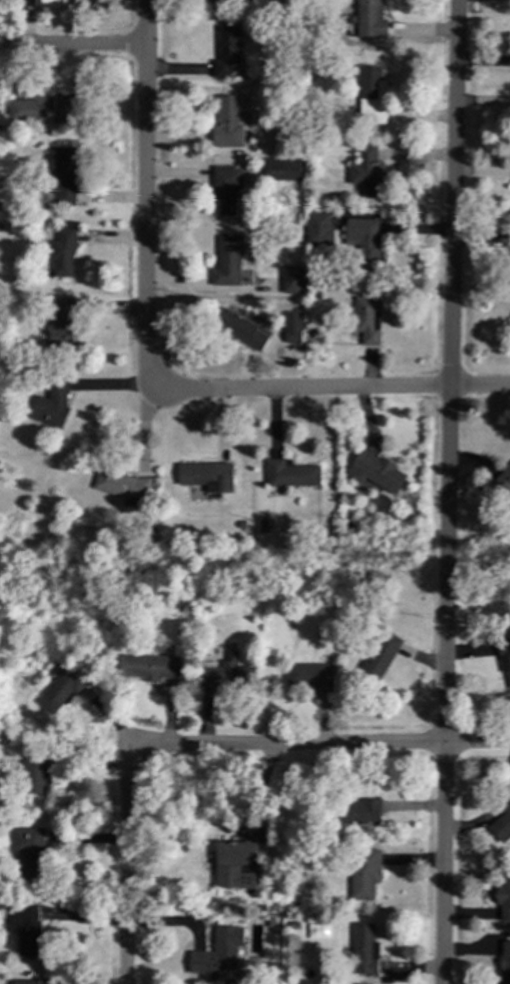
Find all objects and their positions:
building: (228, 0)
building: (26, 3)
building: (57, 3)
building: (371, 20)
road: (88, 45)
building: (226, 51)
building: (371, 94)
building: (314, 99)
building: (286, 104)
building: (44, 110)
building: (313, 114)
building: (227, 123)
building: (0, 126)
building: (312, 139)
building: (282, 170)
building: (367, 171)
building: (65, 175)
building: (225, 189)
road: (143, 196)
building: (249, 215)
building: (315, 215)
building: (1, 227)
building: (365, 245)
building: (63, 250)
building: (227, 262)
building: (291, 287)
building: (233, 304)
building: (368, 320)
building: (509, 327)
building: (60, 328)
building: (291, 328)
building: (241, 330)
road: (329, 385)
building: (52, 402)
building: (374, 472)
building: (292, 474)
building: (207, 476)
building: (503, 481)
building: (122, 485)
road: (447, 492)
building: (347, 523)
building: (242, 525)
building: (379, 655)
building: (505, 659)
building: (150, 665)
building: (226, 674)
building: (311, 676)
building: (67, 684)
road: (324, 741)
building: (36, 774)
building: (350, 805)
building: (502, 825)
building: (30, 849)
road: (138, 857)
building: (235, 863)
building: (363, 875)
building: (503, 895)
building: (24, 929)
building: (219, 949)
building: (364, 949)
building: (504, 963)
building: (29, 981)

